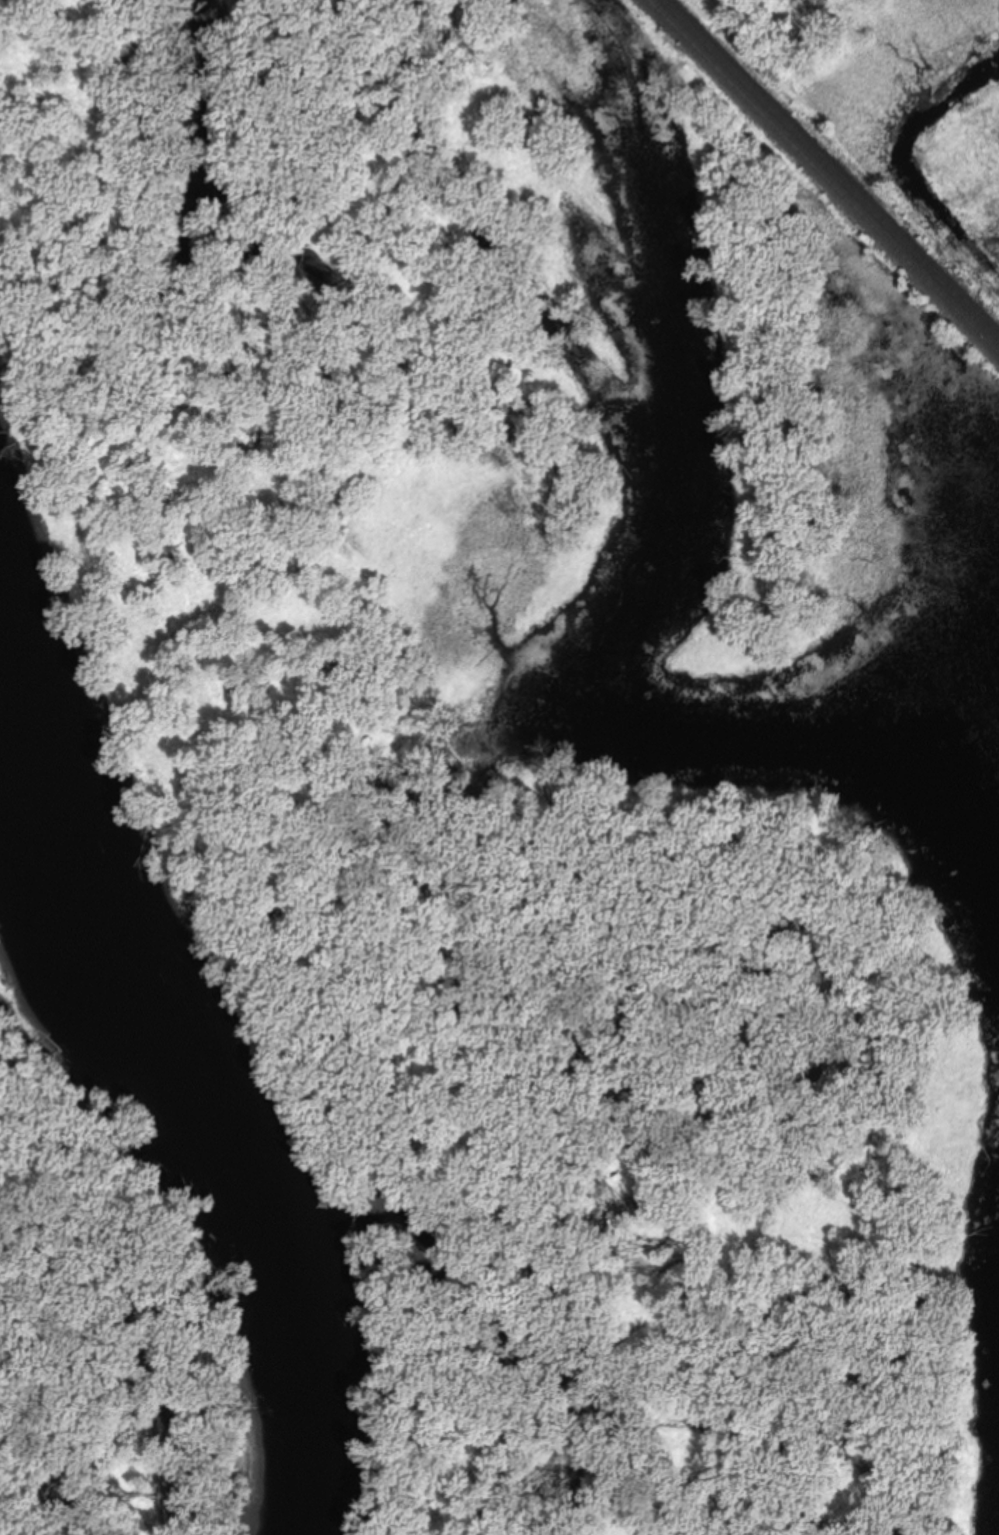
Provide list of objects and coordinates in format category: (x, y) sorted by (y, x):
railway: (833, 166)
railway: (825, 174)
river: (60, 910)
river: (74, 1047)
river: (268, 1261)

